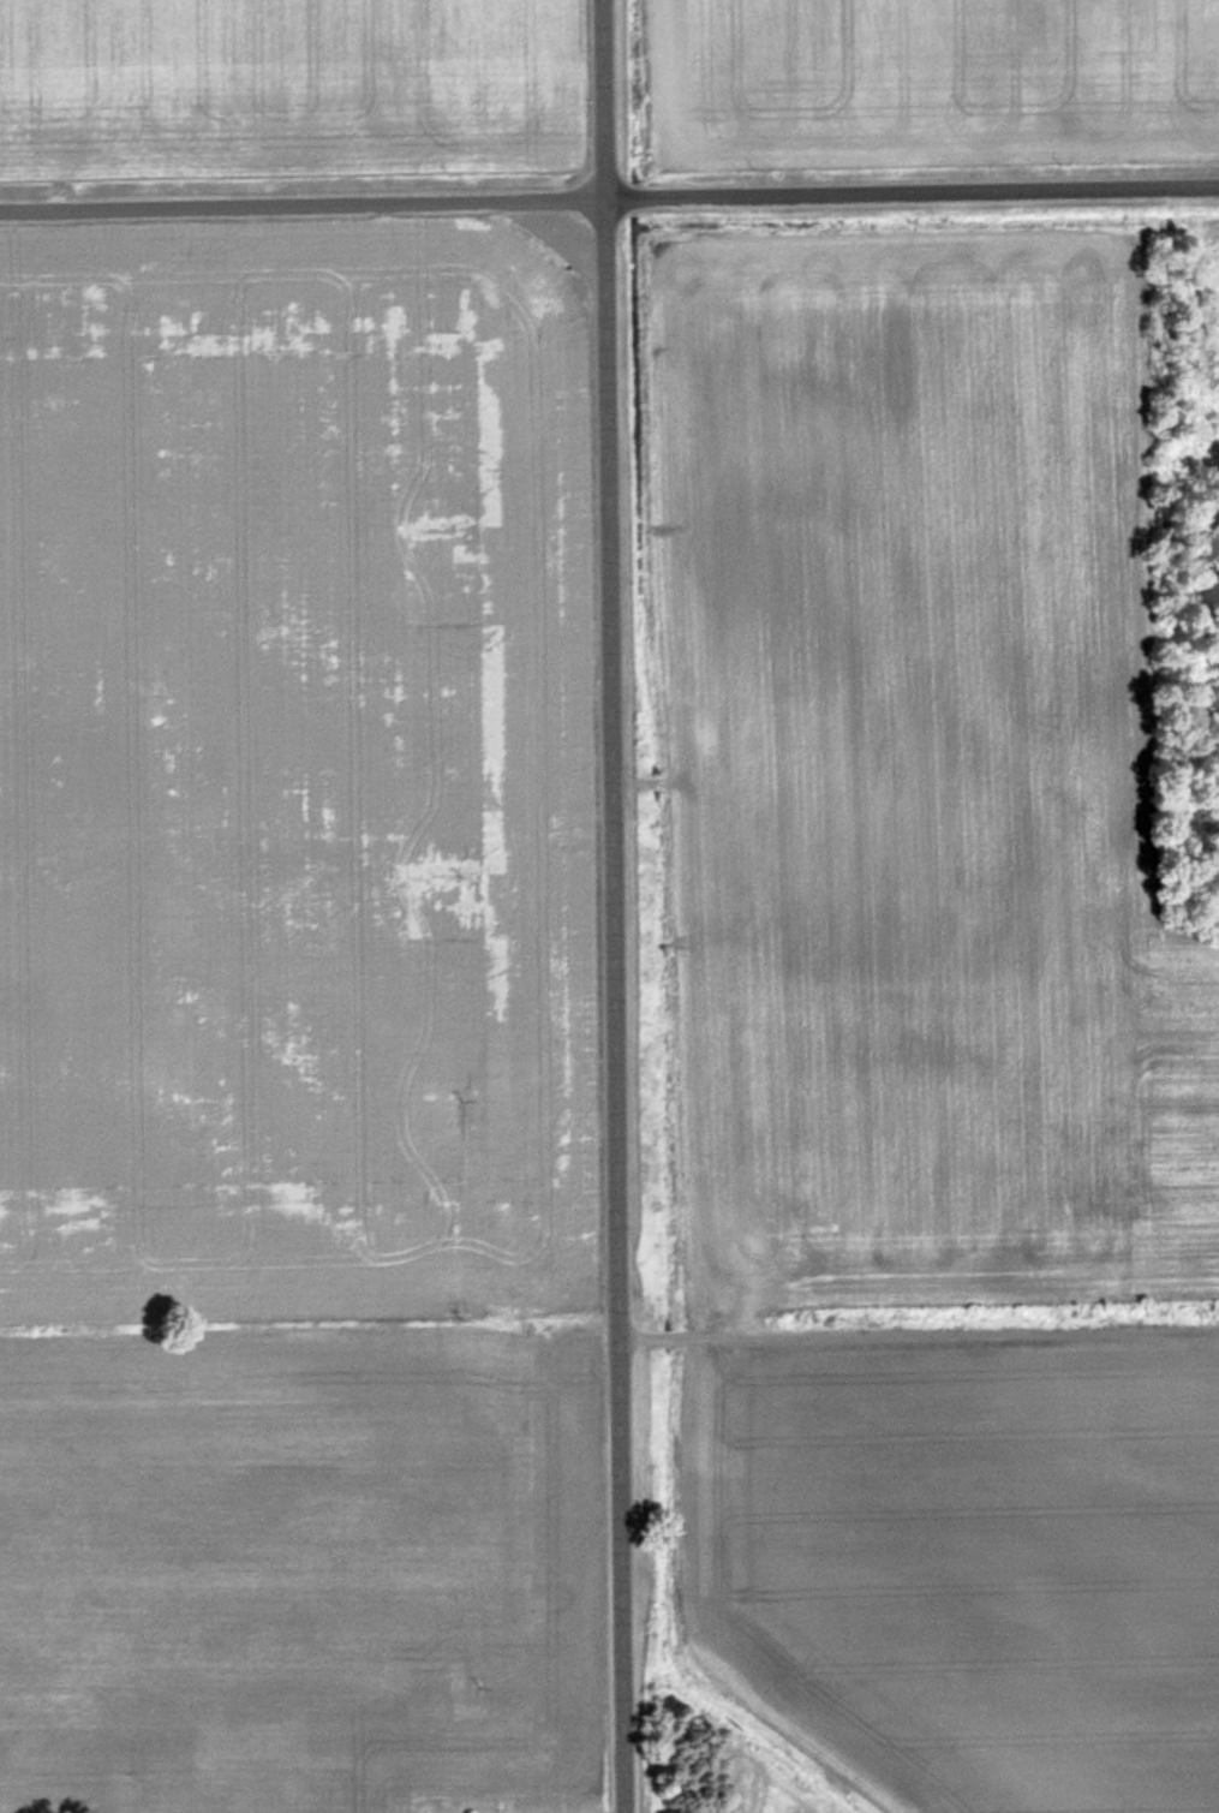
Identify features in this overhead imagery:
road: (609, 197)
road: (611, 906)
road: (918, 1337)

